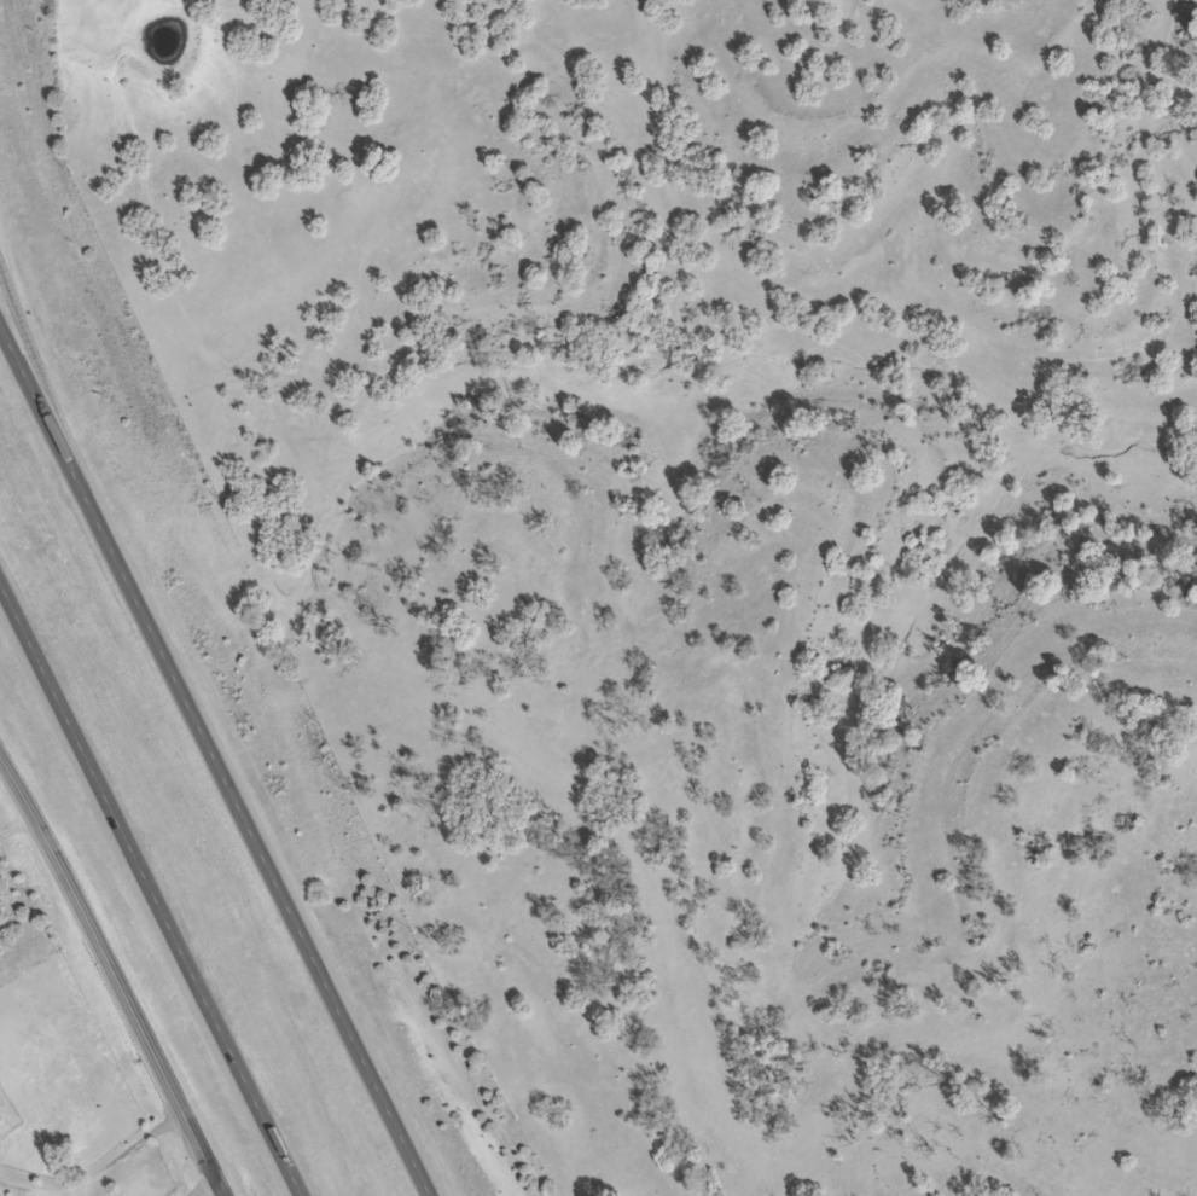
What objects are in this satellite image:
road: (35, 361)
road: (220, 761)
road: (150, 888)
road: (112, 977)
road: (117, 1157)
road: (21, 1190)
road: (215, 1191)

